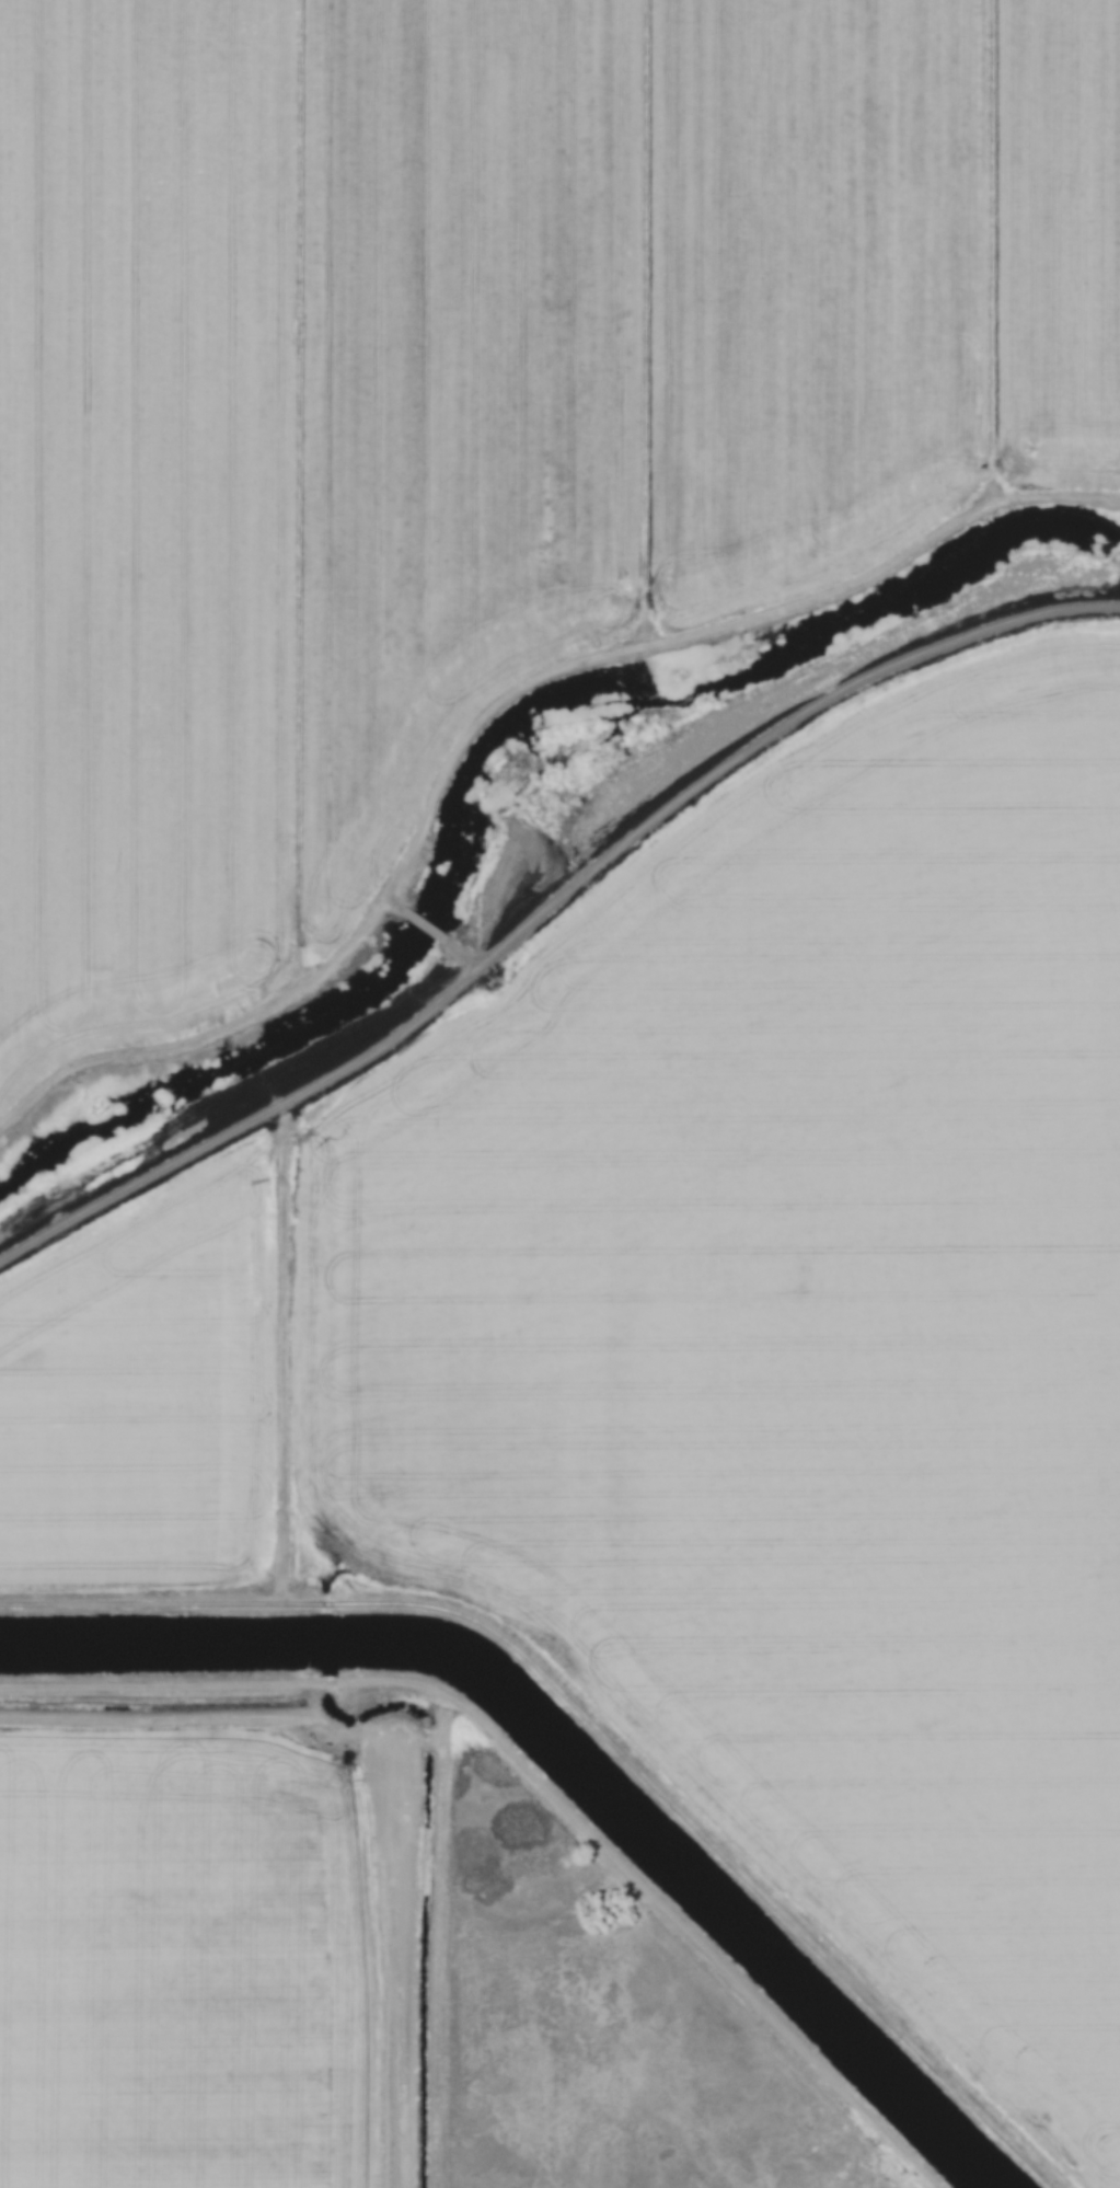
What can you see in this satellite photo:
river: (568, 1753)

